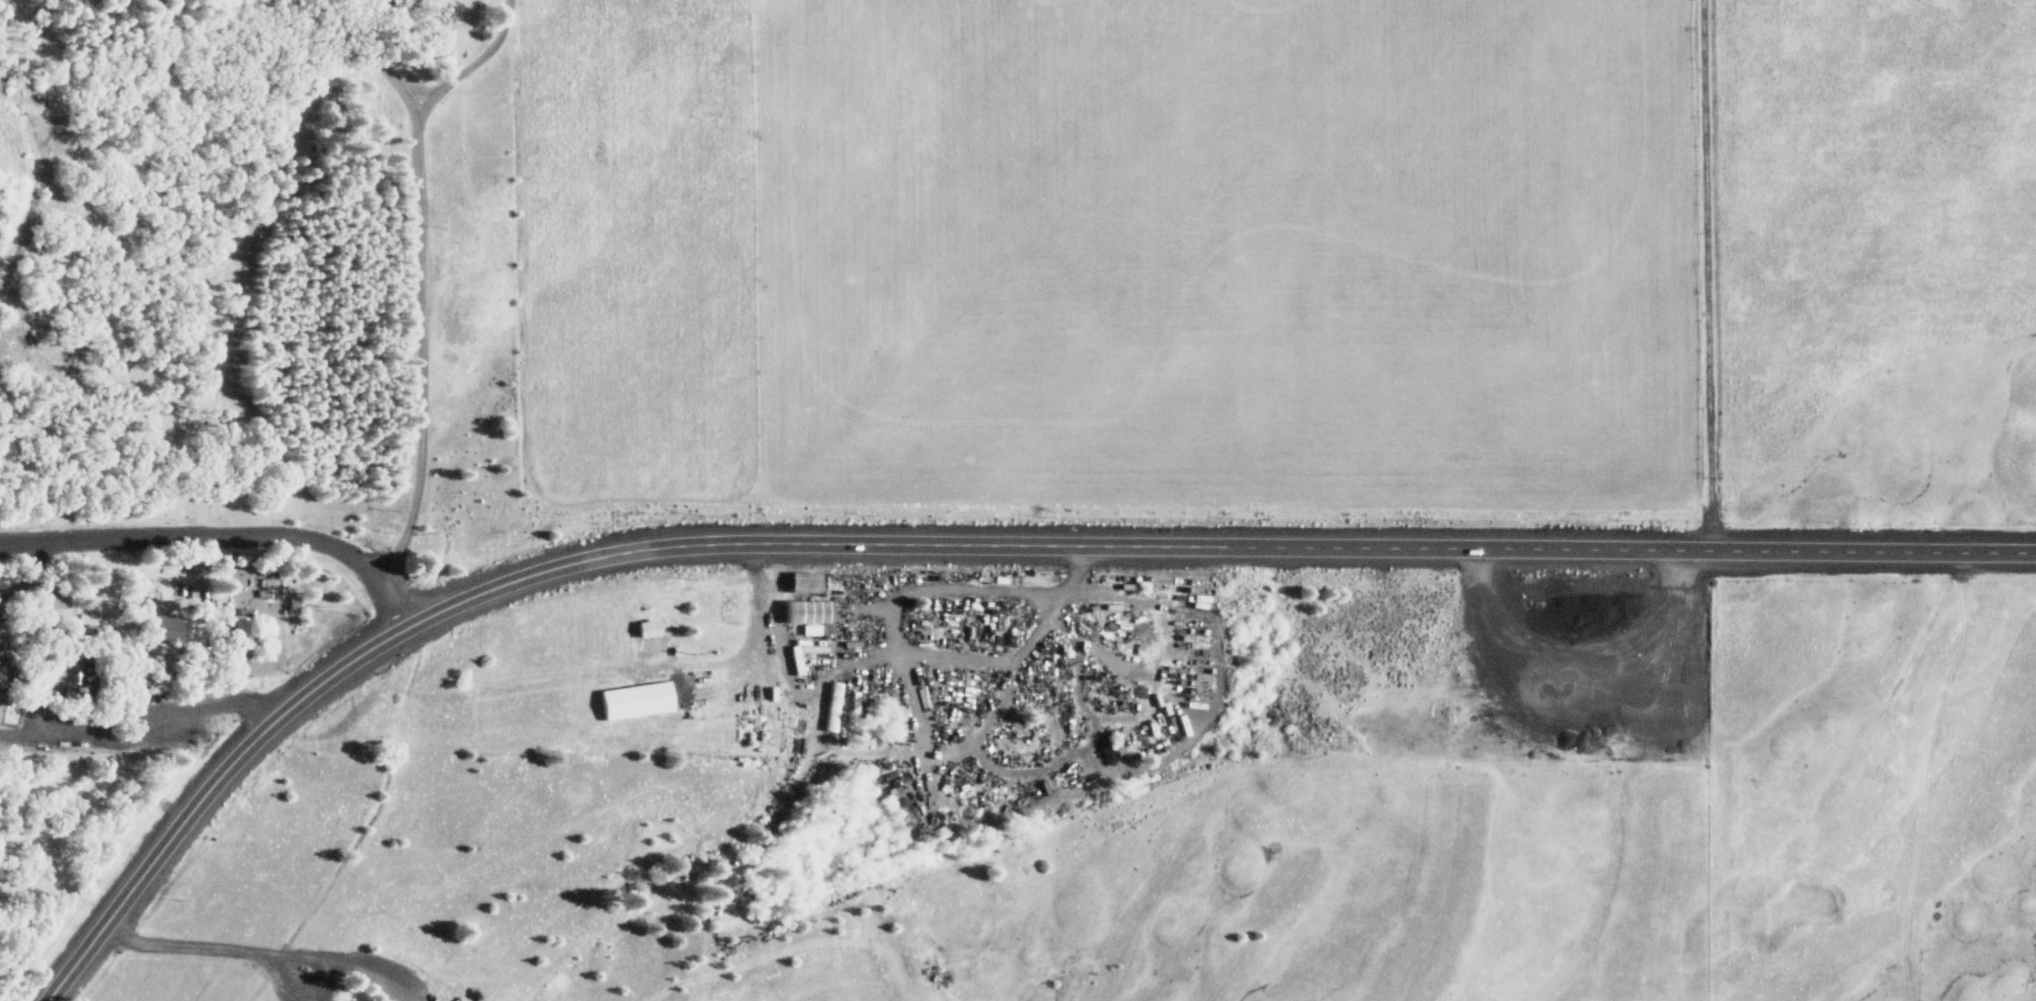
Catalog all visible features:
building: (394, 6)
road: (423, 271)
road: (1706, 273)
road: (222, 534)
road: (950, 542)
building: (803, 580)
building: (2, 610)
building: (808, 613)
building: (241, 626)
building: (647, 626)
building: (163, 630)
building: (1, 669)
building: (170, 672)
building: (4, 696)
building: (634, 698)
building: (829, 706)
road: (137, 712)

